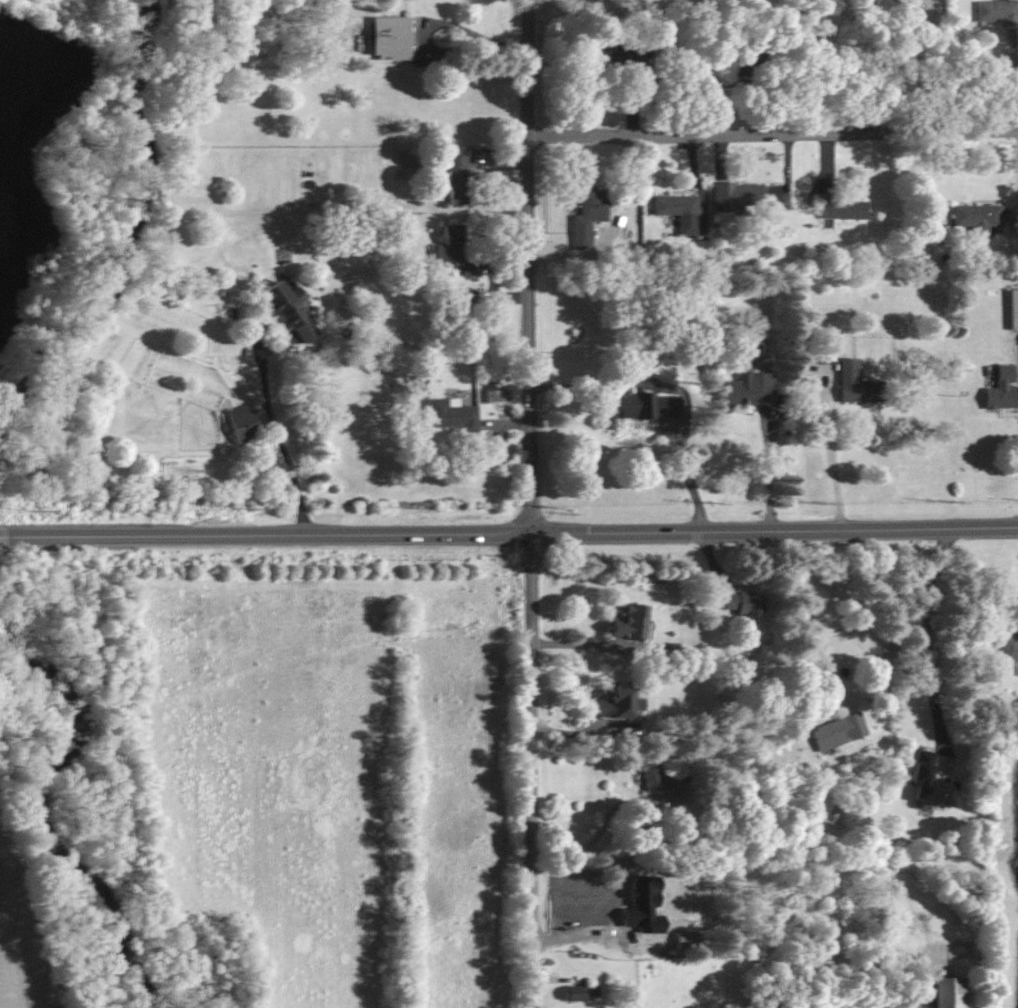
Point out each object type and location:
building: (881, 3)
building: (998, 12)
road: (473, 34)
building: (390, 38)
building: (614, 60)
building: (746, 62)
road: (917, 64)
building: (652, 79)
road: (1015, 79)
road: (738, 83)
road: (637, 105)
road: (772, 134)
road: (830, 165)
road: (790, 178)
building: (457, 179)
road: (704, 185)
building: (737, 197)
building: (843, 210)
building: (680, 212)
building: (590, 216)
road: (1009, 216)
building: (977, 218)
road: (617, 231)
road: (604, 235)
building: (448, 246)
road: (529, 267)
building: (468, 297)
building: (289, 308)
building: (1013, 308)
building: (856, 384)
building: (750, 389)
building: (1001, 389)
building: (639, 404)
building: (450, 414)
building: (242, 424)
road: (280, 436)
road: (833, 450)
road: (765, 476)
road: (689, 478)
road: (8, 535)
road: (517, 535)
traffic signals: (532, 535)
building: (743, 603)
building: (629, 623)
road: (928, 626)
building: (1009, 649)
building: (617, 702)
building: (838, 731)
road: (532, 771)
building: (652, 777)
building: (930, 782)
building: (687, 940)
building: (947, 992)
building: (575, 993)

